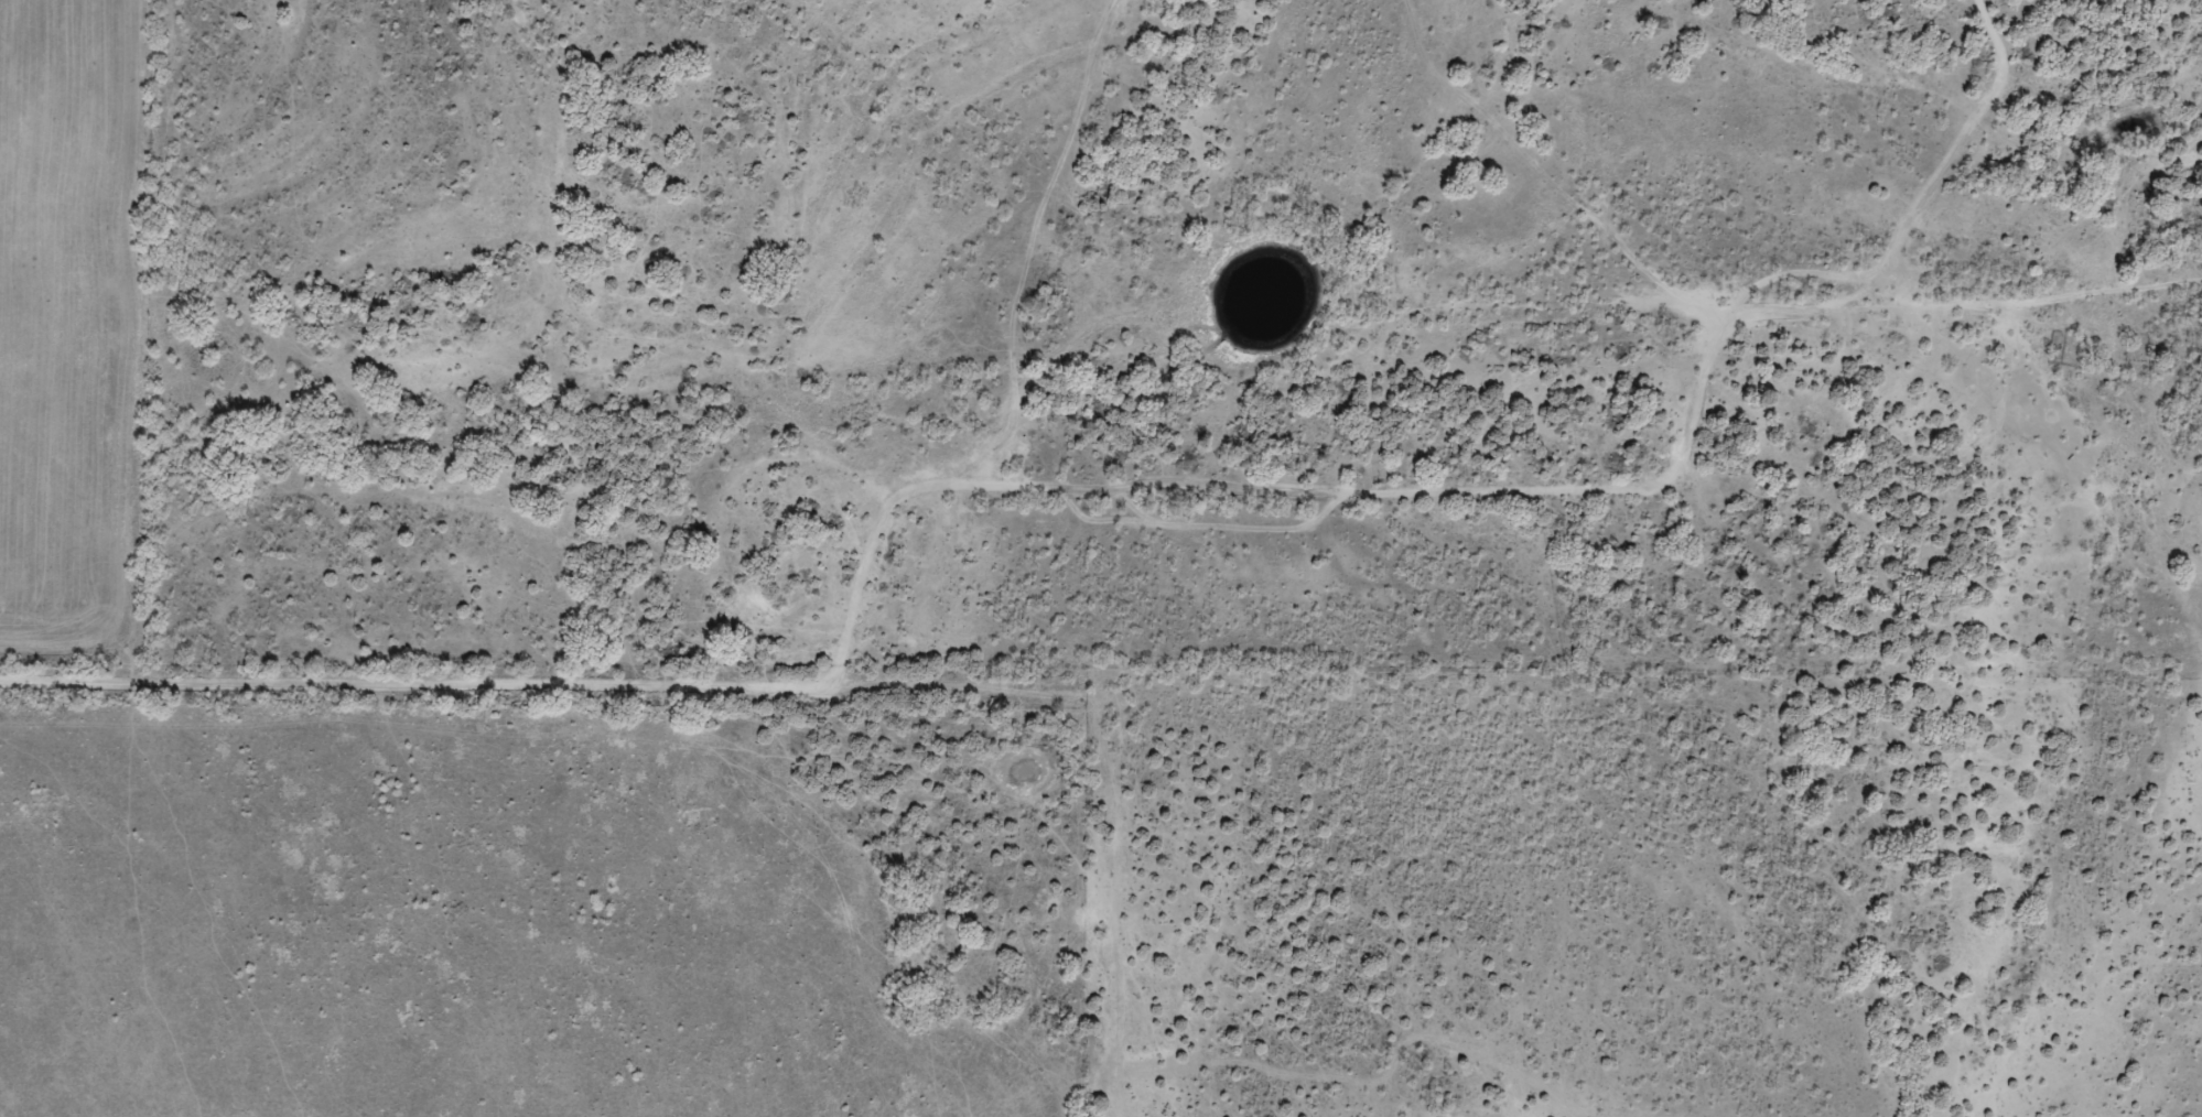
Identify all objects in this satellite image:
road: (398, 704)

